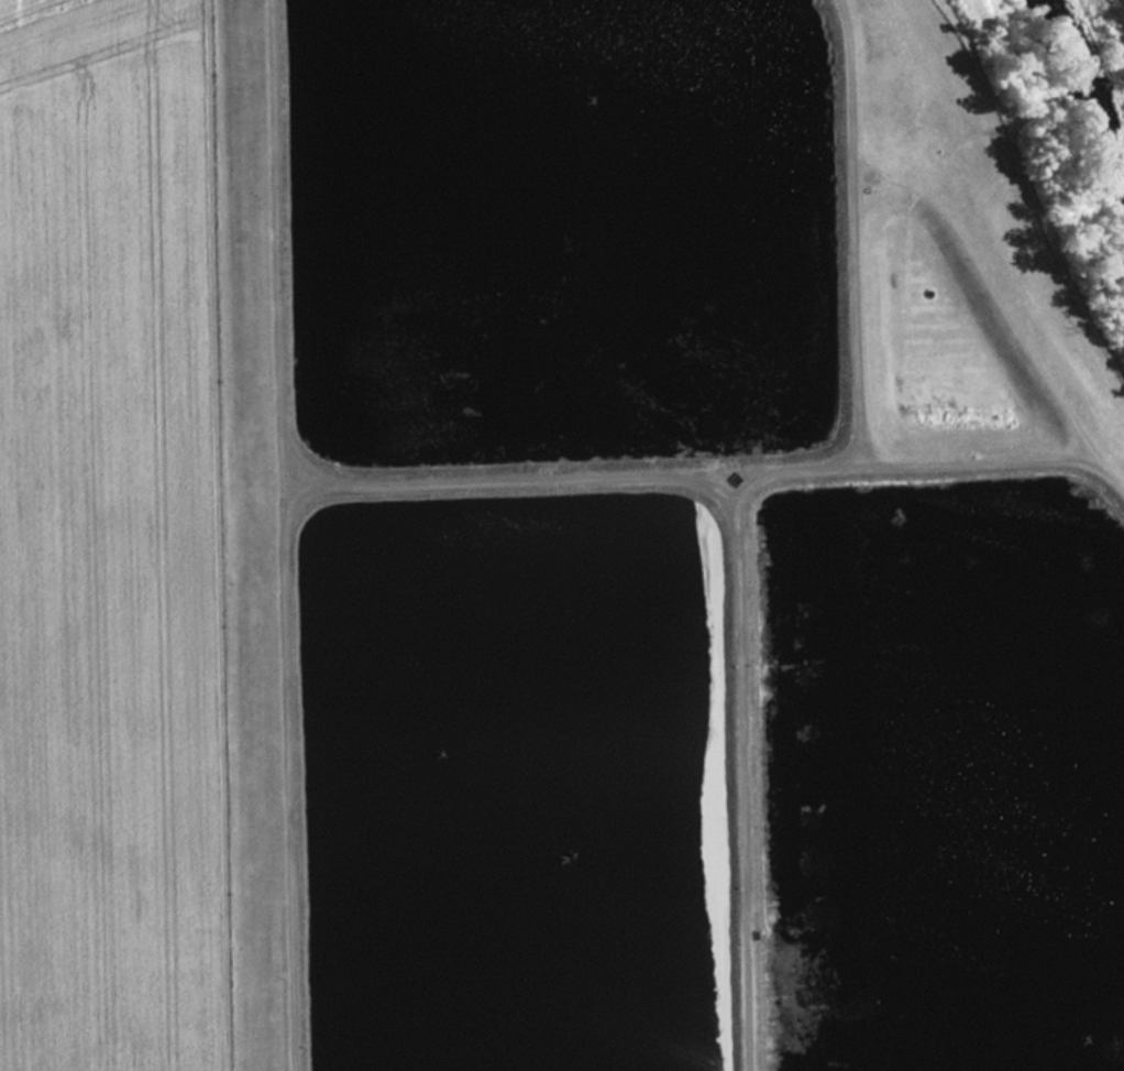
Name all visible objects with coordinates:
river: (1091, 90)

